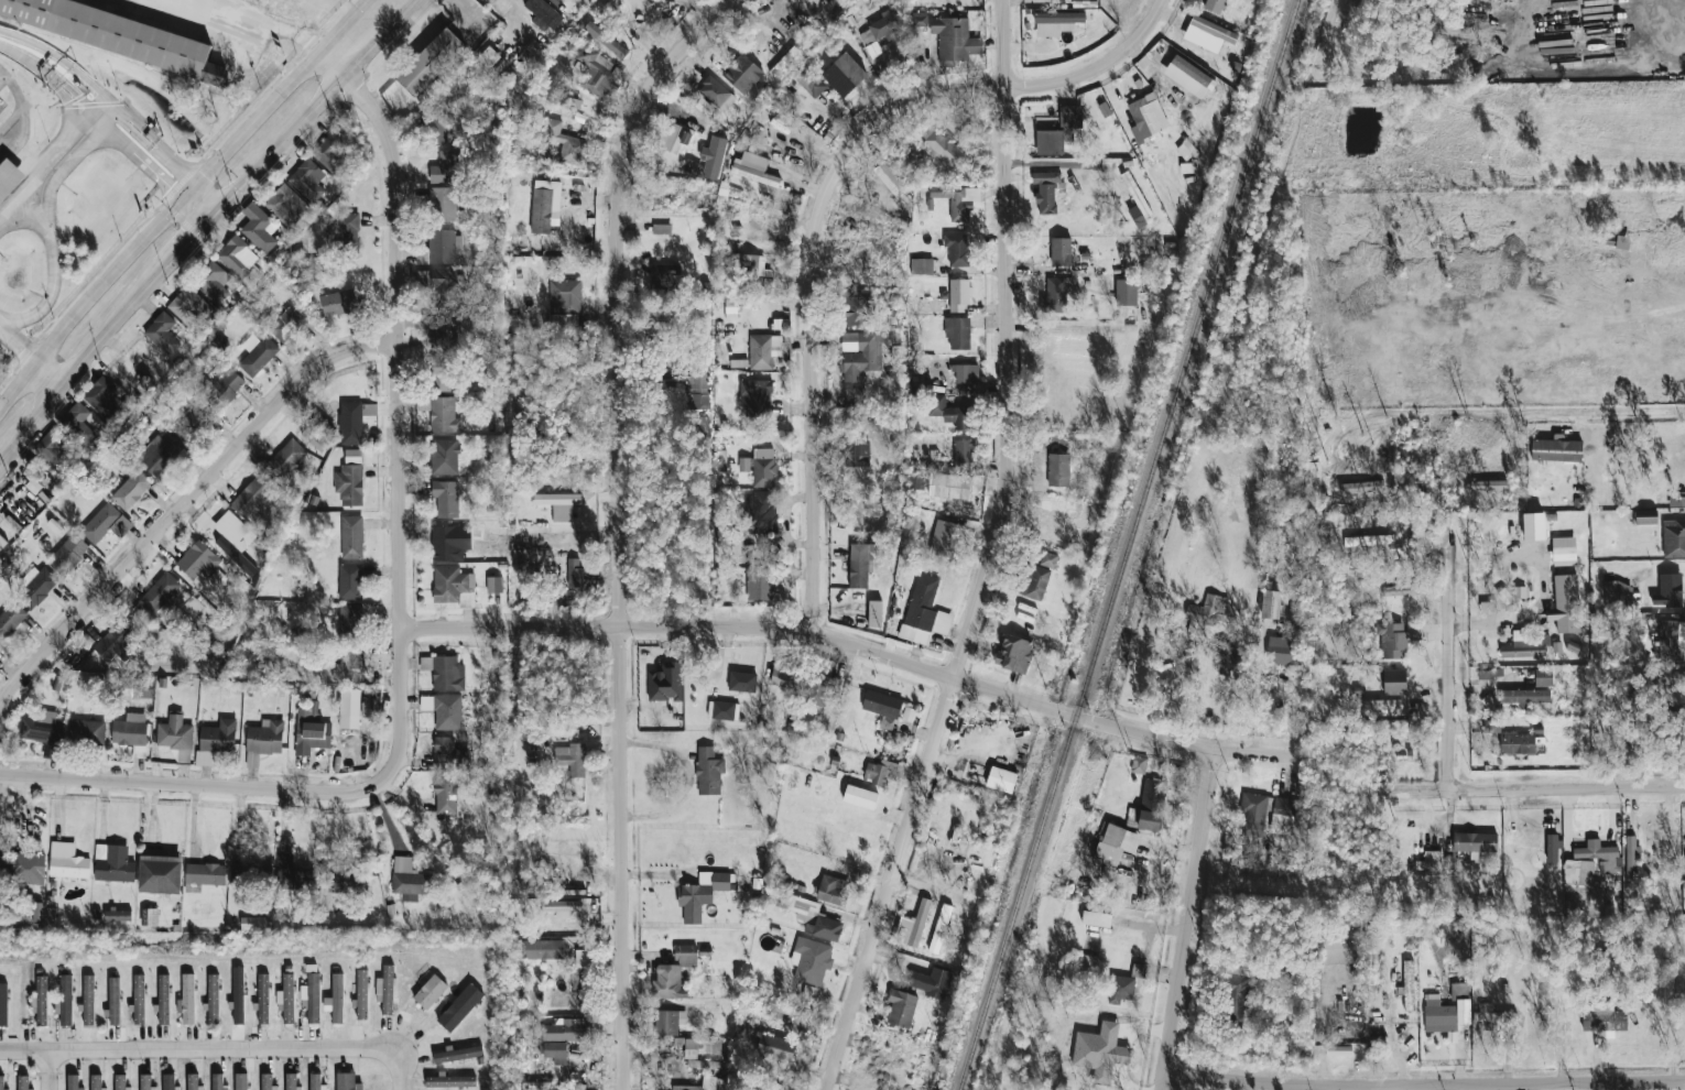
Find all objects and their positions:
building: (1215, 6)
building: (499, 10)
building: (542, 14)
building: (920, 19)
road: (254, 21)
building: (1057, 22)
building: (885, 28)
building: (1208, 33)
building: (119, 34)
building: (950, 36)
building: (606, 40)
building: (488, 57)
road: (54, 59)
building: (430, 61)
road: (31, 62)
building: (556, 70)
building: (596, 72)
road: (0, 74)
building: (743, 74)
building: (844, 74)
building: (705, 80)
building: (809, 80)
road: (10, 90)
road: (280, 92)
building: (716, 94)
road: (75, 99)
road: (81, 102)
building: (572, 102)
road: (90, 105)
road: (108, 105)
road: (317, 105)
building: (705, 107)
road: (139, 113)
road: (69, 115)
building: (1070, 115)
road: (109, 117)
building: (1146, 118)
road: (10, 121)
road: (81, 121)
parking lot: (21, 122)
building: (444, 124)
building: (783, 131)
building: (674, 138)
building: (1052, 141)
building: (565, 142)
building: (941, 144)
road: (153, 146)
building: (1187, 151)
road: (37, 153)
building: (330, 153)
building: (713, 156)
building: (448, 167)
building: (754, 168)
traffic signals: (204, 172)
road: (37, 173)
road: (155, 173)
building: (893, 173)
building: (9, 177)
building: (307, 179)
building: (888, 179)
traffic signals: (170, 186)
building: (1047, 193)
building: (1135, 194)
road: (206, 197)
building: (963, 201)
building: (442, 204)
building: (545, 205)
building: (286, 206)
road: (826, 206)
road: (7, 209)
road: (215, 217)
building: (259, 227)
road: (51, 229)
building: (347, 231)
traffic signals: (195, 239)
building: (671, 239)
building: (1622, 242)
road: (186, 248)
building: (438, 249)
building: (958, 249)
building: (1062, 251)
building: (238, 257)
building: (921, 265)
building: (749, 269)
road: (111, 273)
building: (664, 277)
building: (213, 283)
building: (442, 285)
building: (1131, 292)
building: (1059, 294)
building: (959, 295)
building: (564, 296)
building: (339, 303)
building: (191, 307)
building: (731, 309)
building: (868, 313)
road: (1065, 321)
building: (287, 324)
building: (162, 331)
building: (446, 331)
building: (958, 333)
road: (17, 346)
building: (896, 350)
building: (761, 352)
building: (258, 356)
building: (857, 357)
road: (80, 362)
building: (444, 373)
building: (960, 373)
road: (45, 377)
road: (17, 384)
building: (227, 386)
building: (700, 391)
building: (855, 394)
building: (101, 396)
building: (754, 396)
road: (401, 404)
road: (1633, 411)
building: (948, 412)
building: (446, 414)
building: (75, 417)
building: (354, 419)
building: (194, 424)
building: (699, 432)
building: (314, 439)
building: (54, 448)
building: (1556, 449)
building: (963, 451)
building: (1059, 451)
building: (857, 453)
building: (165, 455)
building: (352, 455)
building: (444, 457)
building: (286, 458)
building: (1058, 469)
building: (763, 471)
building: (915, 479)
building: (349, 484)
building: (1313, 484)
building: (1489, 484)
building: (949, 486)
building: (1362, 487)
building: (132, 490)
building: (252, 495)
building: (446, 498)
building: (556, 500)
building: (1676, 501)
road: (184, 504)
building: (762, 512)
building: (1645, 519)
building: (100, 522)
road: (618, 524)
building: (1064, 528)
building: (225, 530)
building: (352, 536)
building: (1674, 537)
building: (947, 538)
building: (1369, 539)
building: (2, 542)
building: (447, 544)
railway: (1128, 545)
building: (1564, 551)
building: (68, 554)
road: (996, 557)
building: (198, 560)
building: (861, 565)
building: (217, 577)
building: (576, 577)
building: (1039, 577)
building: (350, 581)
building: (493, 584)
building: (761, 584)
building: (453, 586)
building: (36, 588)
building: (1401, 589)
building: (1668, 590)
building: (1520, 591)
building: (159, 592)
building: (526, 592)
building: (1618, 593)
building: (1504, 596)
building: (1271, 603)
building: (1565, 603)
building: (193, 606)
building: (1488, 606)
building: (924, 611)
building: (1206, 612)
building: (874, 613)
building: (10, 619)
building: (350, 623)
building: (1414, 631)
building: (1667, 636)
building: (1392, 639)
building: (117, 642)
road: (858, 645)
road: (1448, 645)
building: (1525, 645)
building: (1557, 646)
building: (1573, 646)
building: (1283, 650)
building: (1014, 652)
building: (352, 663)
building: (443, 671)
building: (1490, 673)
building: (784, 674)
building: (1543, 676)
building: (665, 682)
building: (742, 682)
building: (1394, 682)
building: (57, 683)
building: (142, 689)
building: (173, 689)
building: (820, 689)
building: (1524, 696)
building: (1489, 700)
building: (882, 704)
building: (1377, 705)
building: (350, 708)
building: (444, 710)
building: (721, 710)
building: (1493, 731)
building: (87, 732)
building: (174, 732)
building: (129, 733)
building: (312, 733)
building: (43, 734)
building: (265, 738)
building: (217, 739)
building: (1517, 743)
building: (447, 753)
building: (575, 759)
building: (1139, 764)
building: (709, 772)
building: (882, 772)
building: (1001, 778)
road: (197, 786)
road: (1536, 788)
building: (446, 794)
building: (860, 796)
building: (1152, 803)
building: (1284, 809)
building: (1253, 814)
building: (1475, 841)
building: (1117, 842)
building: (1553, 848)
road: (1170, 850)
building: (3, 852)
building: (1600, 854)
building: (1631, 858)
building: (1428, 863)
building: (116, 865)
building: (69, 866)
building: (28, 868)
building: (1578, 872)
building: (160, 874)
building: (206, 874)
building: (251, 875)
building: (410, 878)
building: (295, 879)
building: (720, 881)
building: (348, 882)
building: (833, 890)
building: (691, 903)
building: (562, 905)
building: (51, 914)
building: (117, 915)
building: (19, 916)
building: (36, 916)
building: (149, 916)
building: (812, 917)
building: (1097, 918)
road: (1184, 919)
building: (920, 922)
building: (253, 923)
building: (939, 928)
building: (1322, 940)
building: (543, 948)
building: (706, 950)
building: (687, 953)
building: (583, 957)
building: (811, 960)
building: (1088, 962)
building: (1374, 968)
building: (1138, 970)
building: (579, 978)
building: (668, 982)
building: (938, 983)
building: (1409, 985)
building: (523, 988)
building: (1121, 989)
building: (387, 990)
building: (430, 991)
building: (809, 991)
building: (1459, 991)
building: (361, 994)
building: (238, 995)
building: (311, 996)
building: (163, 998)
building: (263, 998)
building: (557, 998)
building: (139, 999)
building: (187, 999)
building: (213, 999)
building: (286, 999)
building: (336, 999)
building: (1238, 999)
building: (66, 1000)
building: (88, 1000)
building: (40, 1001)
building: (113, 1001)
building: (3, 1004)
building: (1543, 1004)
building: (460, 1006)
building: (710, 1007)
building: (783, 1009)
building: (901, 1009)
building: (1492, 1015)
building: (1439, 1016)
building: (671, 1021)
building: (1605, 1021)
building: (567, 1028)
building: (680, 1040)
building: (652, 1043)
building: (703, 1046)
building: (773, 1046)
road: (200, 1050)
building: (555, 1050)
building: (1338, 1050)
building: (1100, 1051)
building: (458, 1053)
building: (705, 1064)
road: (46, 1070)
road: (402, 1070)
building: (73, 1081)
building: (96, 1081)
building: (120, 1081)
building: (144, 1081)
building: (168, 1081)
building: (193, 1081)
building: (217, 1081)
building: (241, 1081)
building: (265, 1081)
building: (291, 1081)
building: (347, 1081)
building: (450, 1081)
building: (1, 1082)
building: (23, 1082)
building: (316, 1082)
building: (537, 1084)
road: (1423, 1084)
building: (689, 1087)
building: (769, 1087)
building: (751, 1088)

